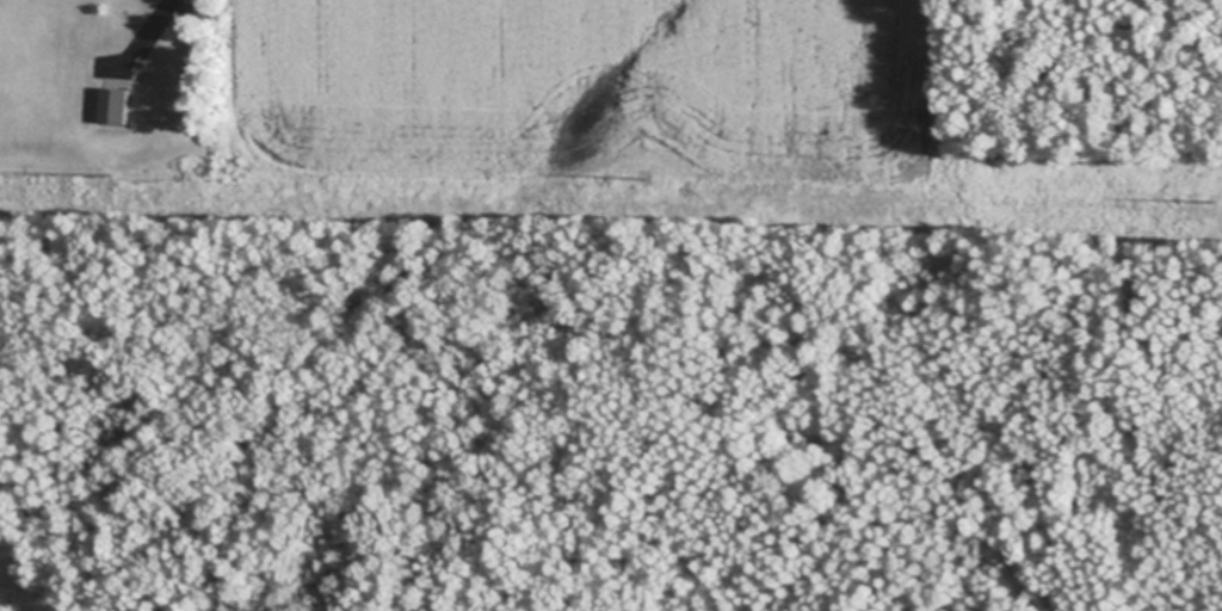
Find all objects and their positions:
building: (204, 8)
road: (154, 29)
building: (117, 105)
power tower: (112, 177)
power tower: (644, 181)
power tower: (1212, 204)

